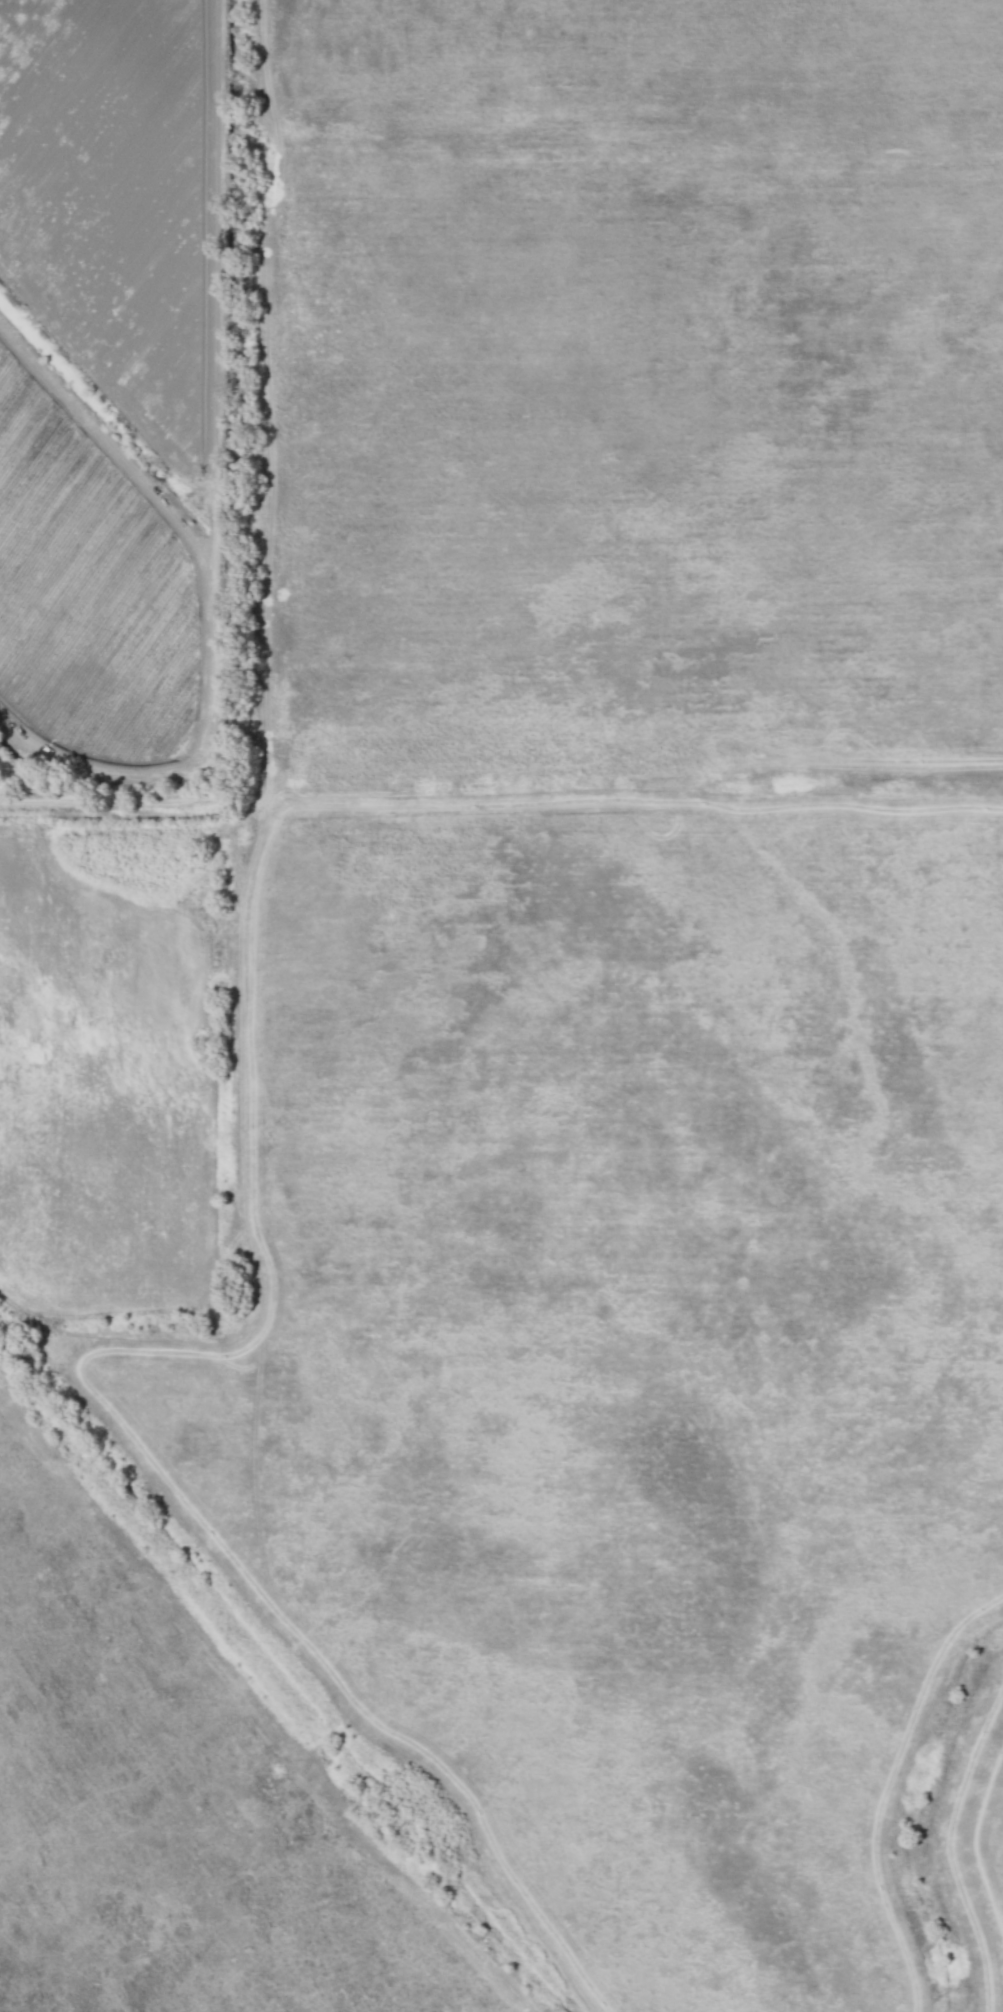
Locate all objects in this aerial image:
crop: (122, 209)

